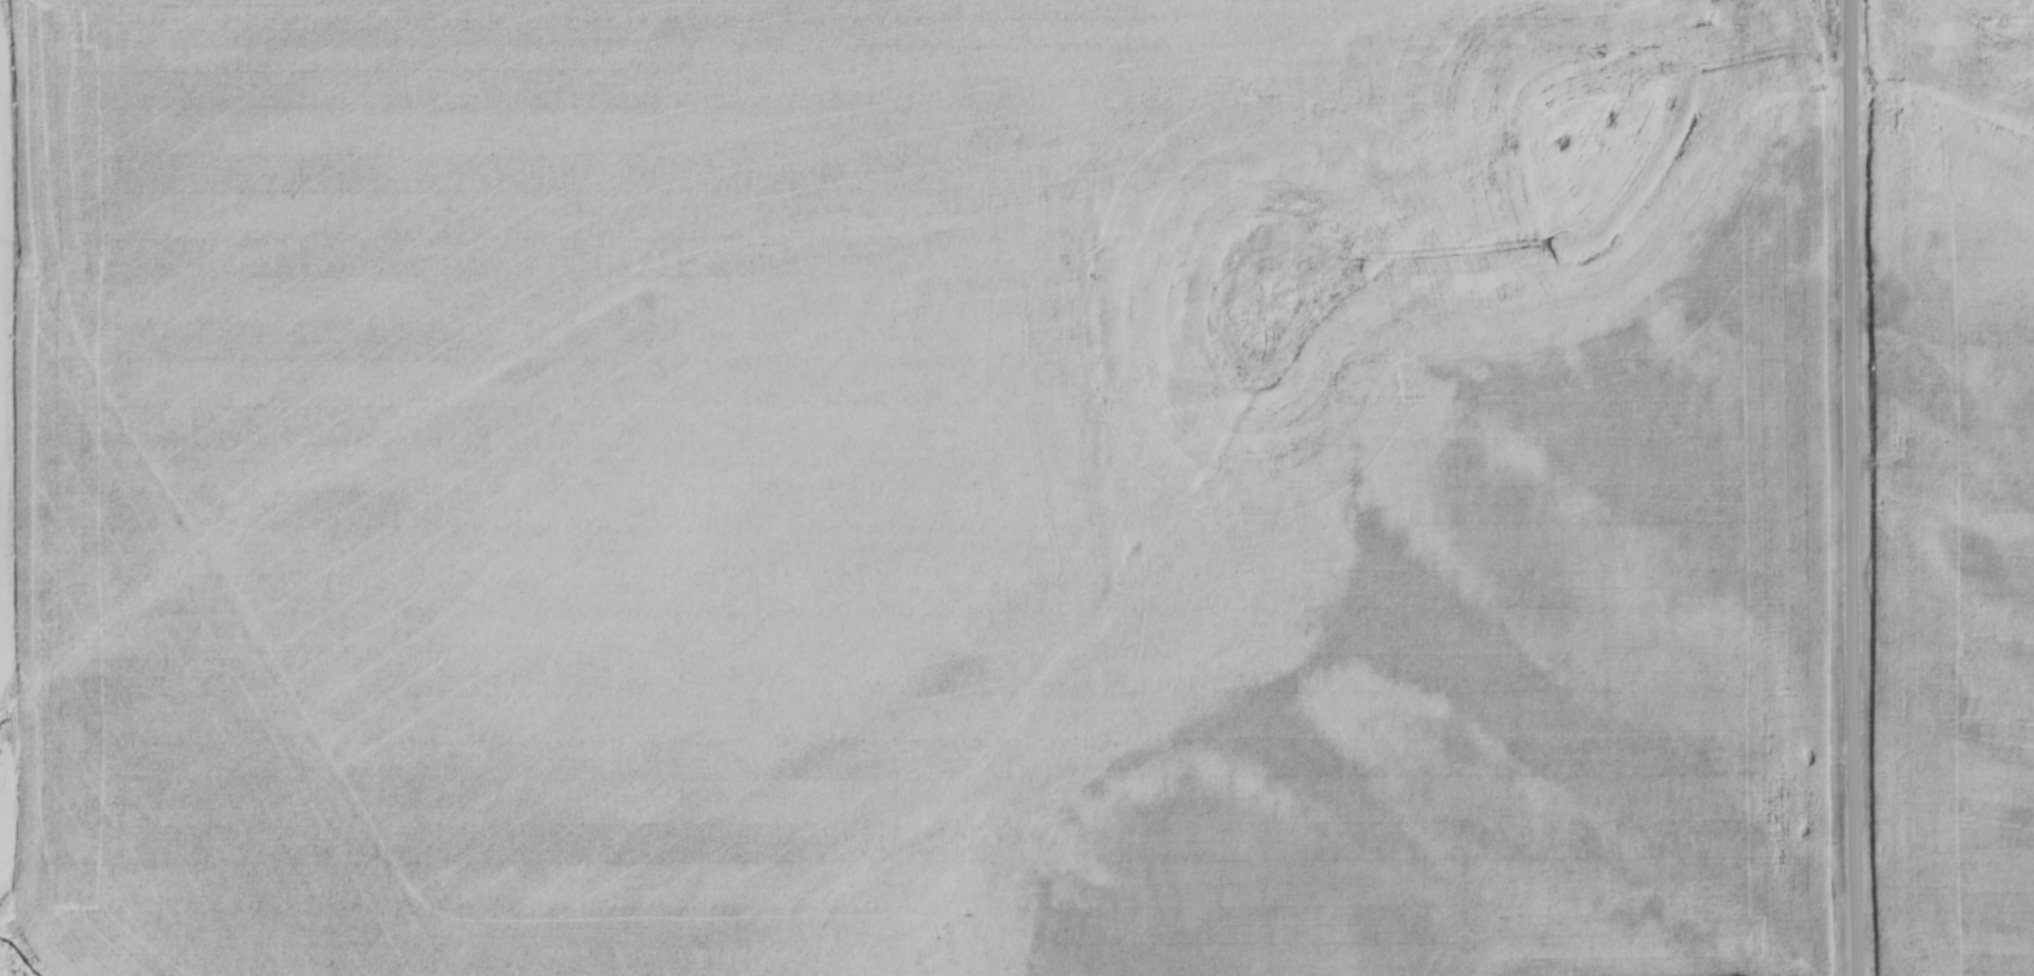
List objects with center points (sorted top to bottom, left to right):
crop: (1955, 485)
road: (1852, 488)

